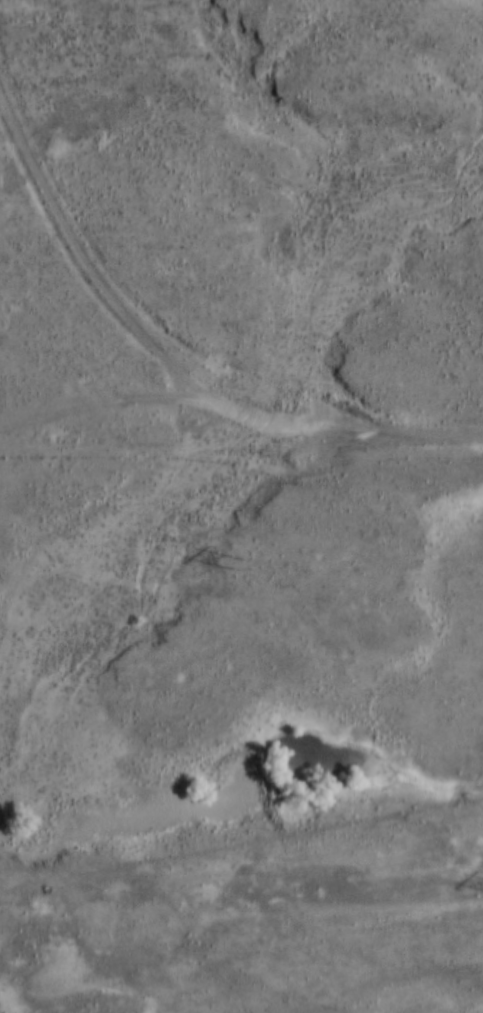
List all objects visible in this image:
road: (177, 360)
power tower: (248, 566)

